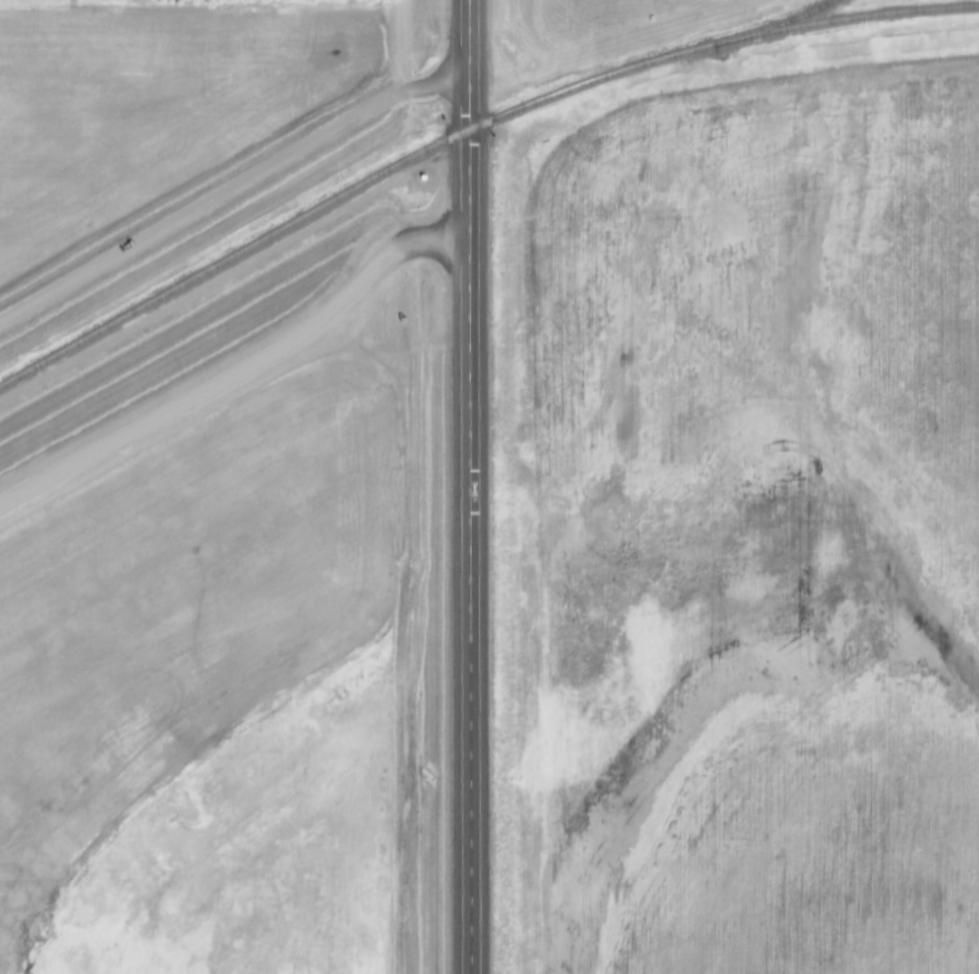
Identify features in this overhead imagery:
railway: (774, 25)
railway: (466, 132)
road: (242, 189)
road: (483, 487)

